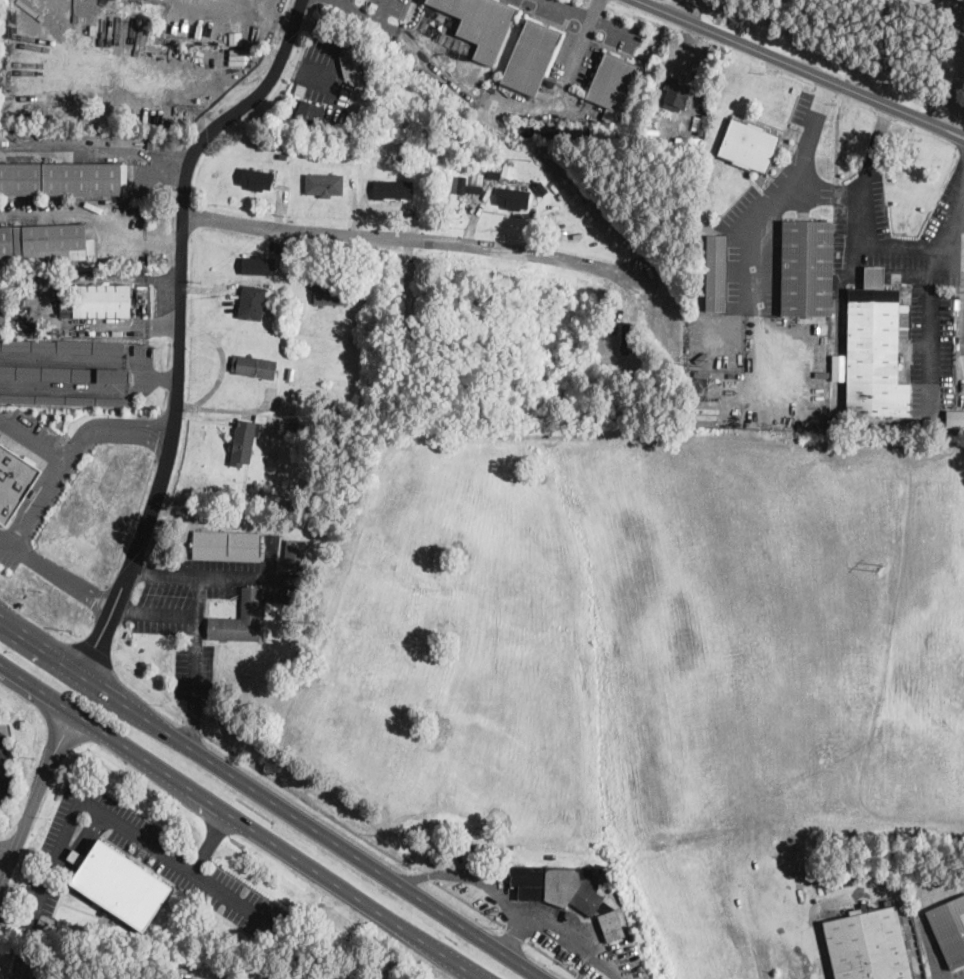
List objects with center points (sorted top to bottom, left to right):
road: (343, 2)
building: (450, 5)
road: (570, 8)
road: (594, 8)
road: (679, 9)
road: (356, 11)
road: (381, 11)
road: (272, 18)
building: (487, 27)
building: (530, 56)
road: (571, 62)
building: (352, 63)
road: (798, 68)
building: (612, 84)
building: (675, 94)
road: (959, 99)
building: (308, 111)
building: (749, 144)
power tower: (529, 158)
building: (256, 177)
building: (62, 178)
building: (461, 183)
building: (324, 184)
building: (392, 188)
road: (784, 192)
building: (512, 197)
road: (93, 210)
road: (958, 220)
road: (418, 238)
building: (44, 242)
road: (865, 243)
road: (950, 256)
building: (258, 263)
building: (806, 267)
building: (715, 272)
road: (179, 290)
building: (329, 293)
building: (94, 298)
building: (251, 300)
building: (2, 301)
road: (927, 332)
building: (626, 336)
building: (62, 346)
building: (875, 349)
power tower: (703, 361)
building: (253, 365)
building: (63, 373)
building: (63, 398)
road: (207, 406)
building: (955, 418)
building: (243, 441)
road: (32, 442)
road: (73, 451)
building: (14, 480)
road: (28, 497)
road: (134, 523)
building: (226, 545)
building: (295, 554)
power tower: (877, 567)
road: (142, 570)
road: (55, 573)
road: (220, 577)
road: (122, 611)
road: (166, 615)
building: (239, 618)
road: (198, 637)
road: (98, 644)
road: (193, 722)
road: (4, 765)
road: (2, 767)
road: (36, 798)
road: (270, 800)
road: (240, 822)
road: (122, 825)
road: (210, 843)
road: (82, 844)
road: (5, 854)
building: (119, 883)
building: (555, 885)
road: (863, 891)
road: (510, 907)
road: (15, 918)
road: (922, 918)
building: (611, 924)
building: (950, 928)
road: (514, 936)
building: (865, 945)
building: (22, 969)
parking lot: (958, 973)
road: (220, 978)

